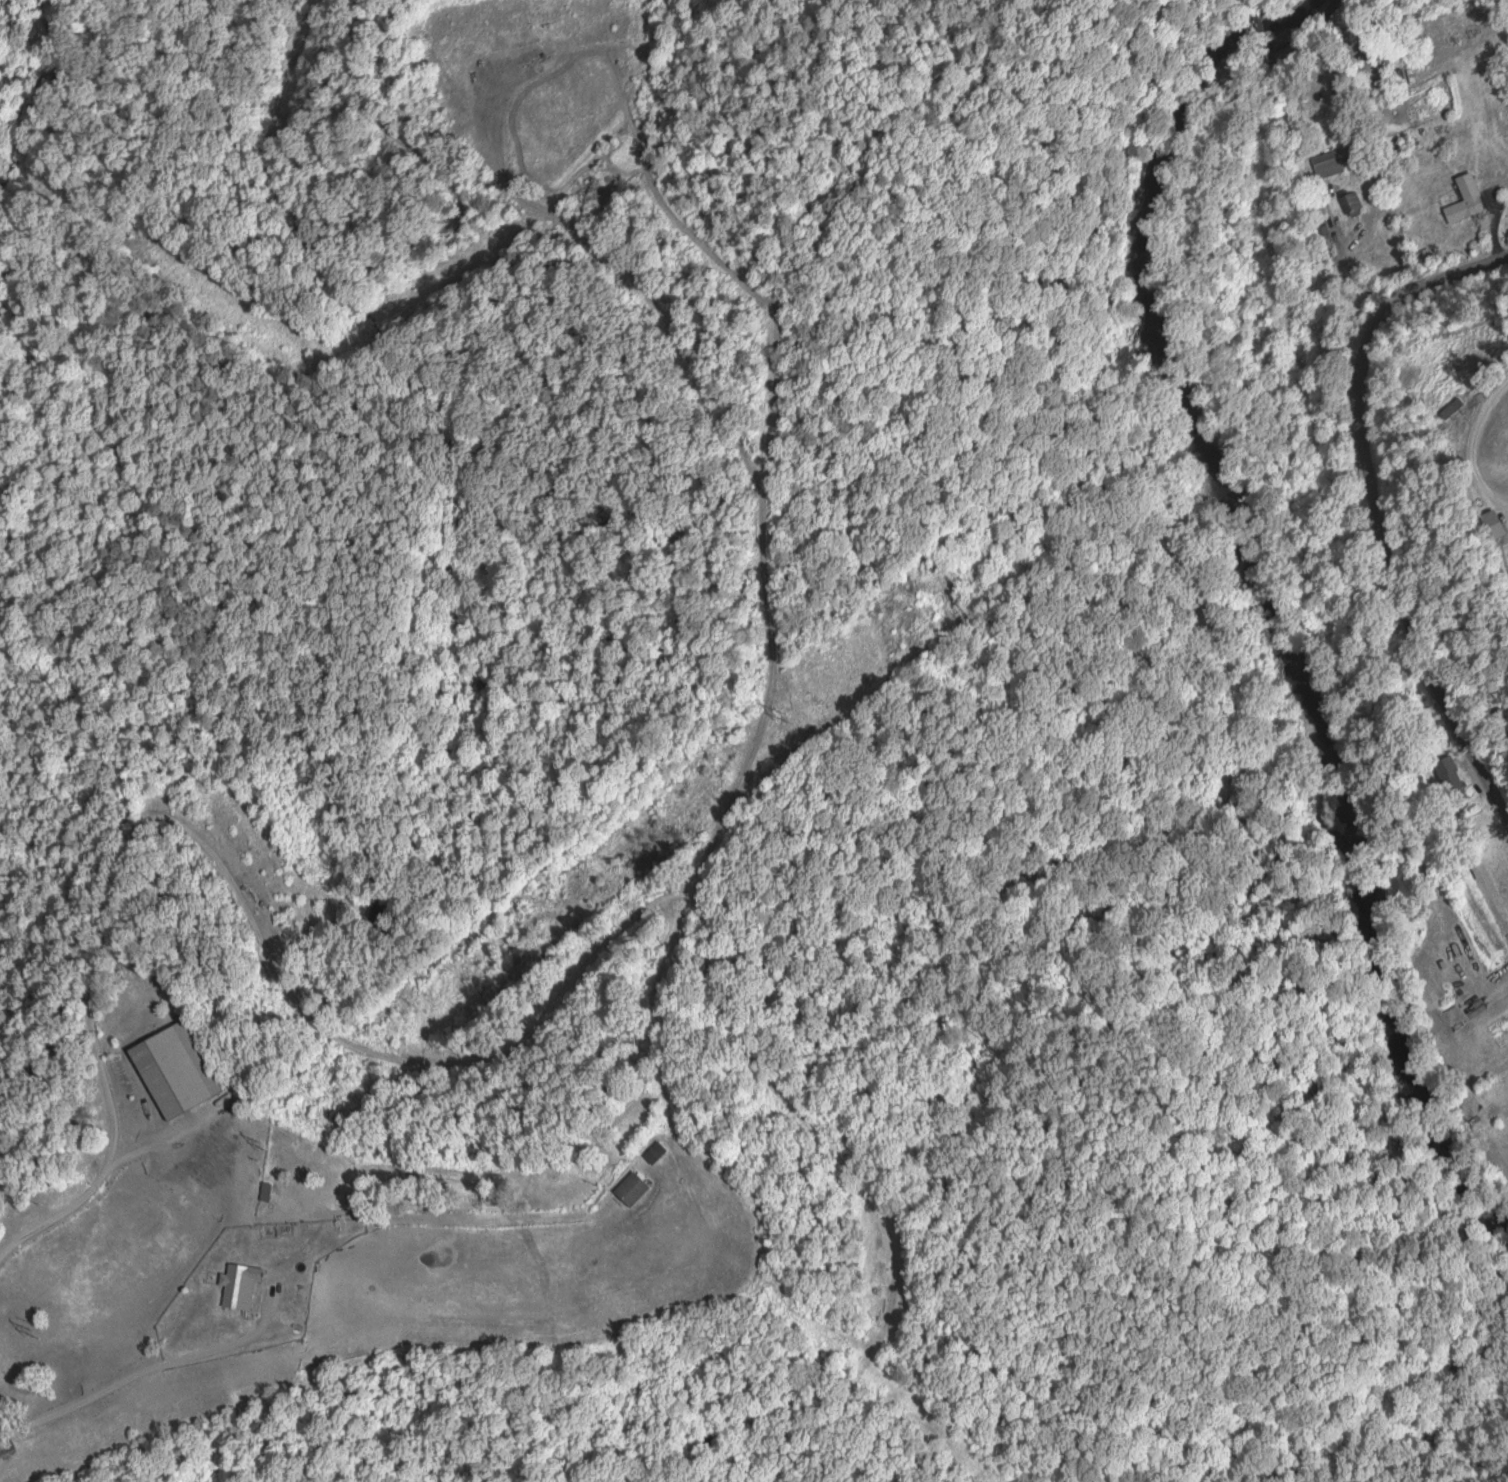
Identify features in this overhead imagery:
building: (1473, 202)
road: (1369, 505)
power tower: (790, 714)
road: (135, 924)
building: (175, 1069)
building: (1498, 1143)
power tower: (265, 1149)
building: (654, 1151)
building: (631, 1187)
building: (264, 1191)
building: (239, 1284)
road: (139, 1326)
power tower: (35, 1337)
building: (5, 1444)

